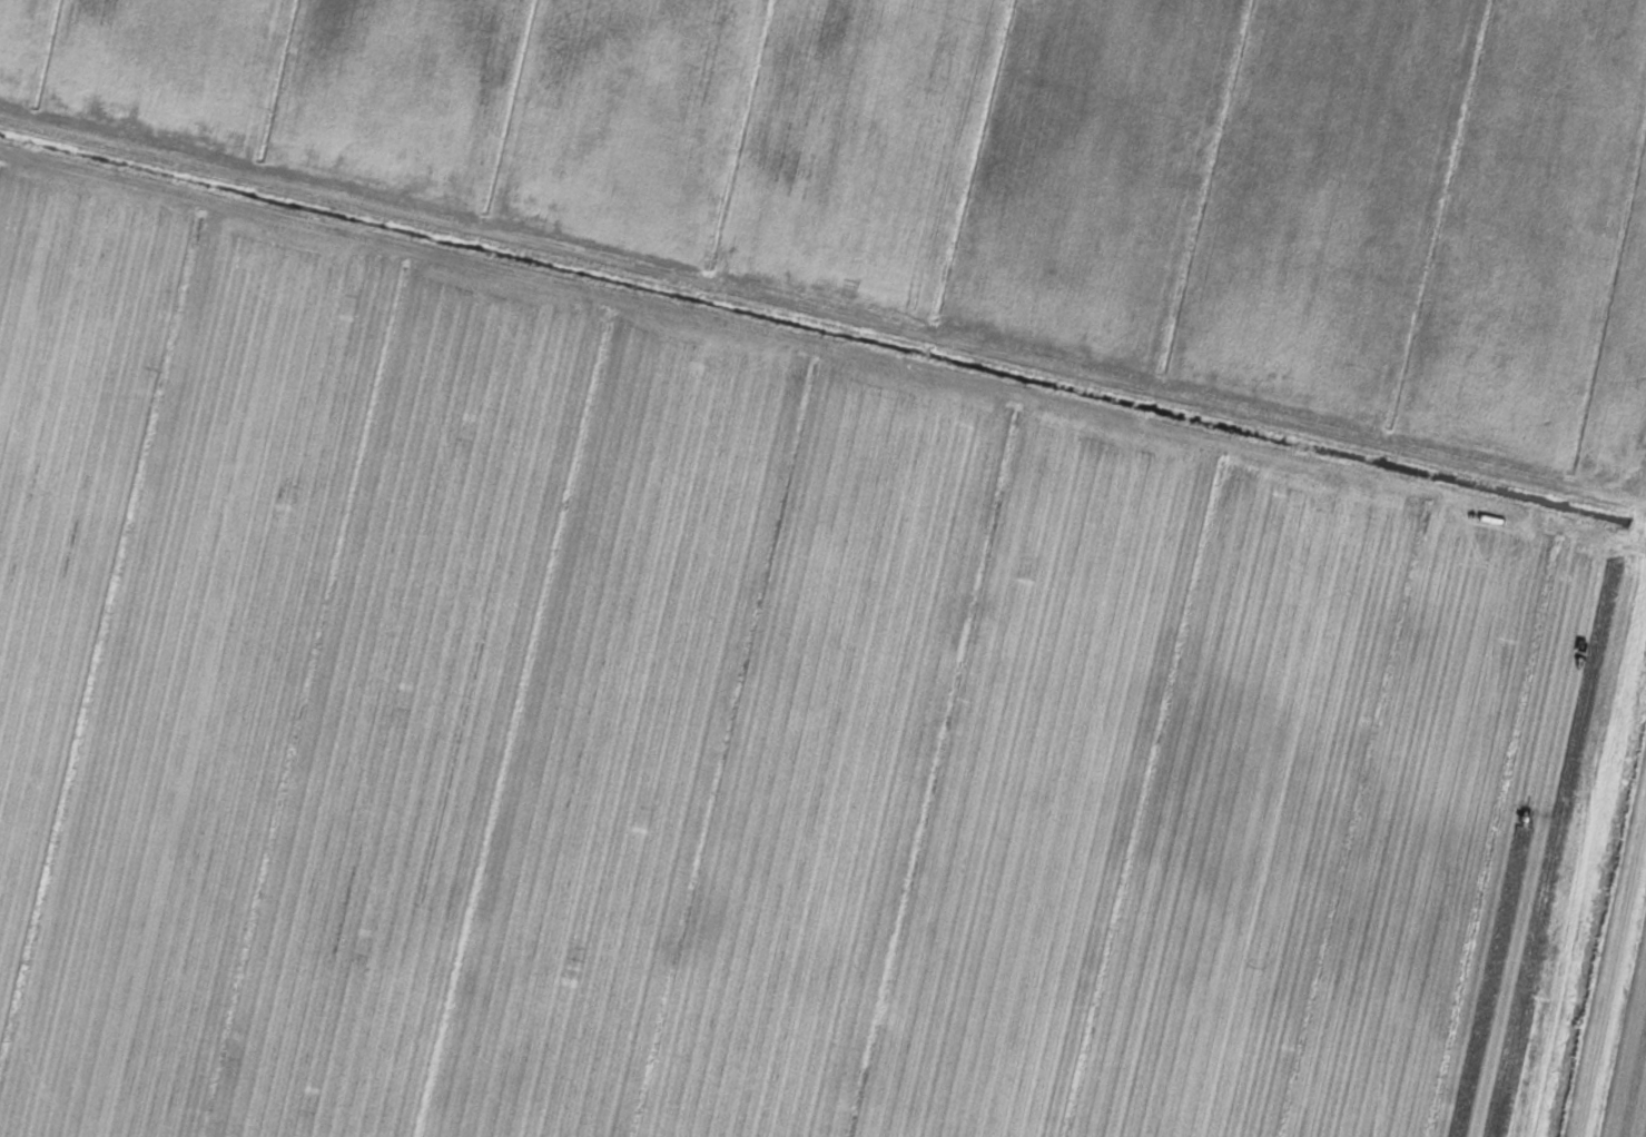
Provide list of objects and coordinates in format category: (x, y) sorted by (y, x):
road: (822, 306)
road: (1615, 988)

